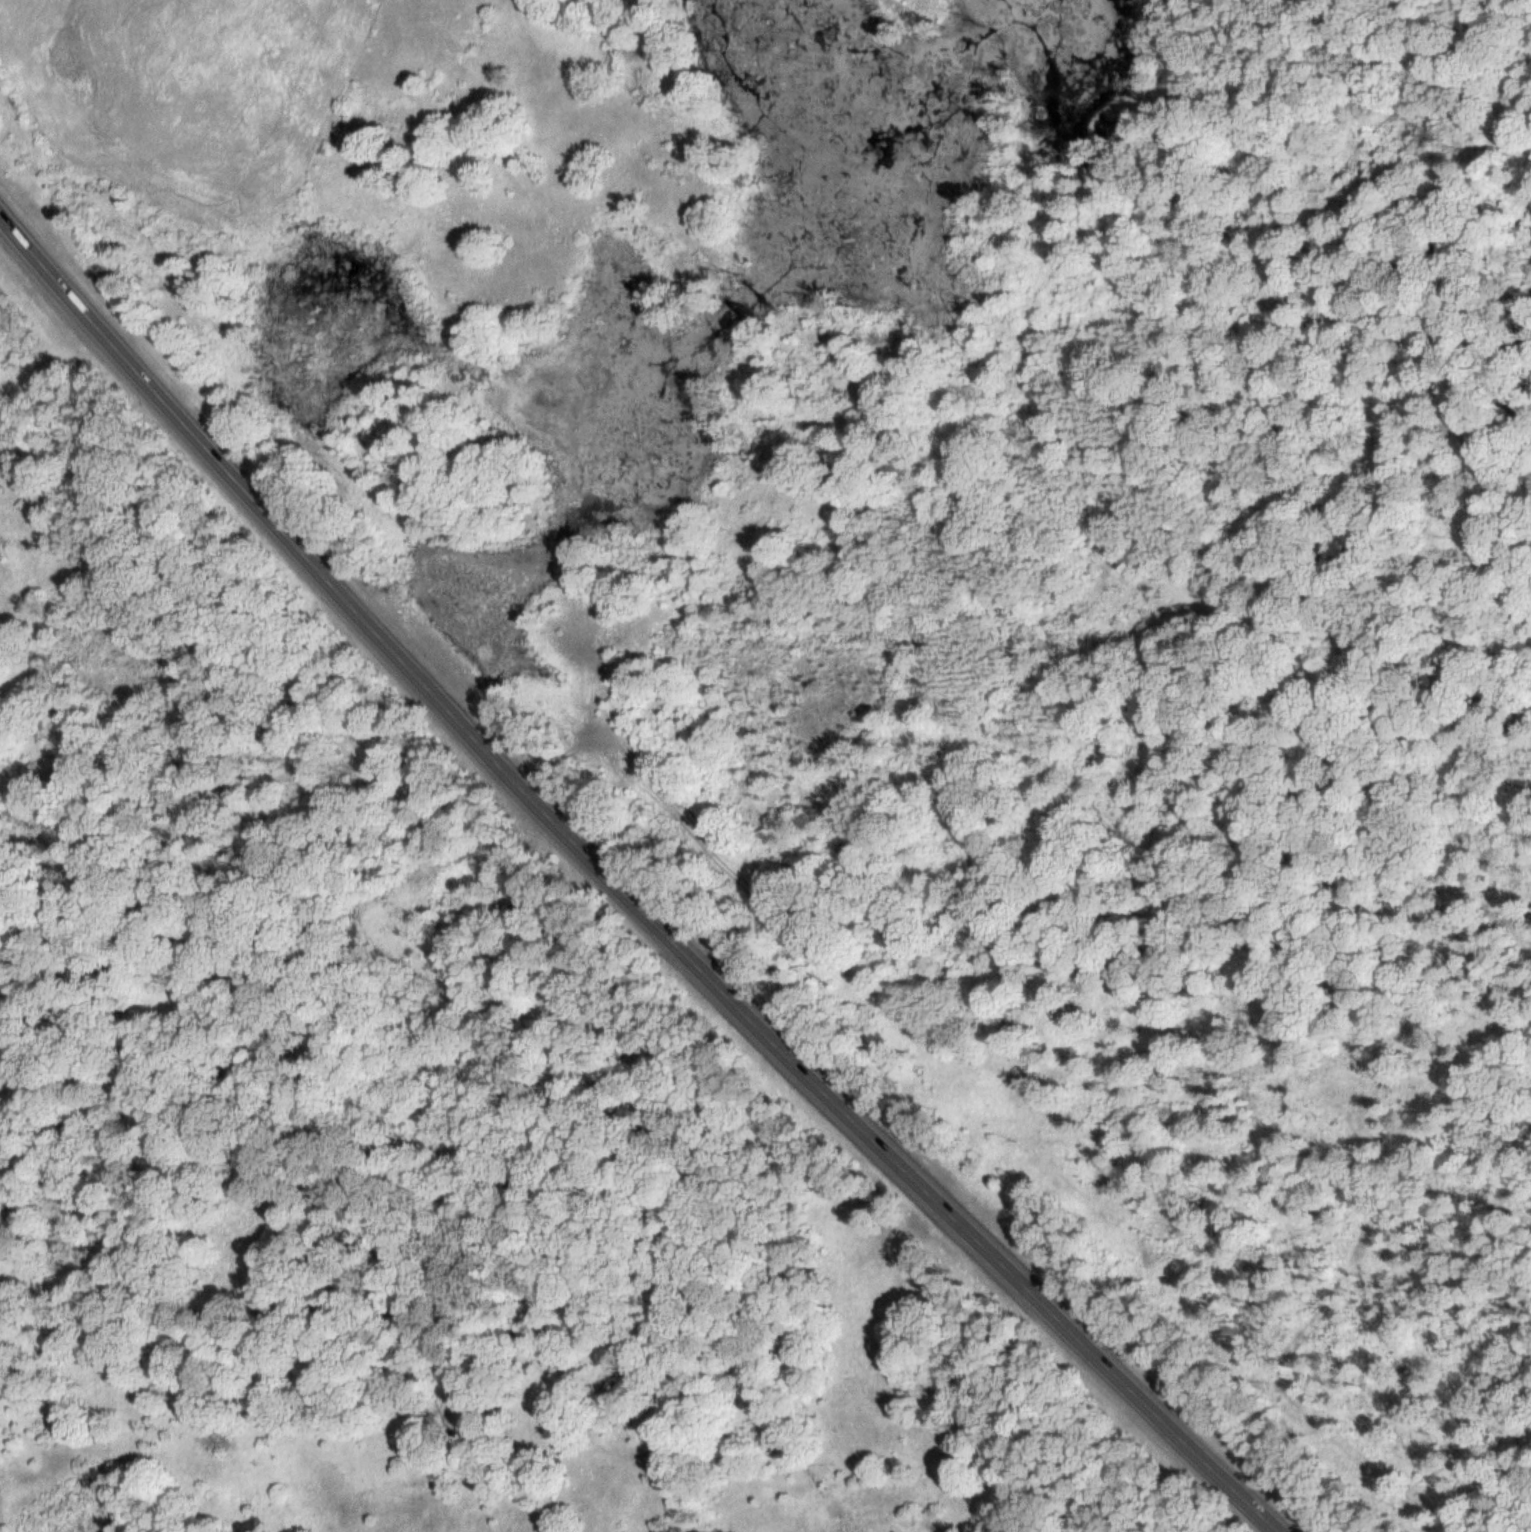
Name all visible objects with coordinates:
road: (624, 880)

